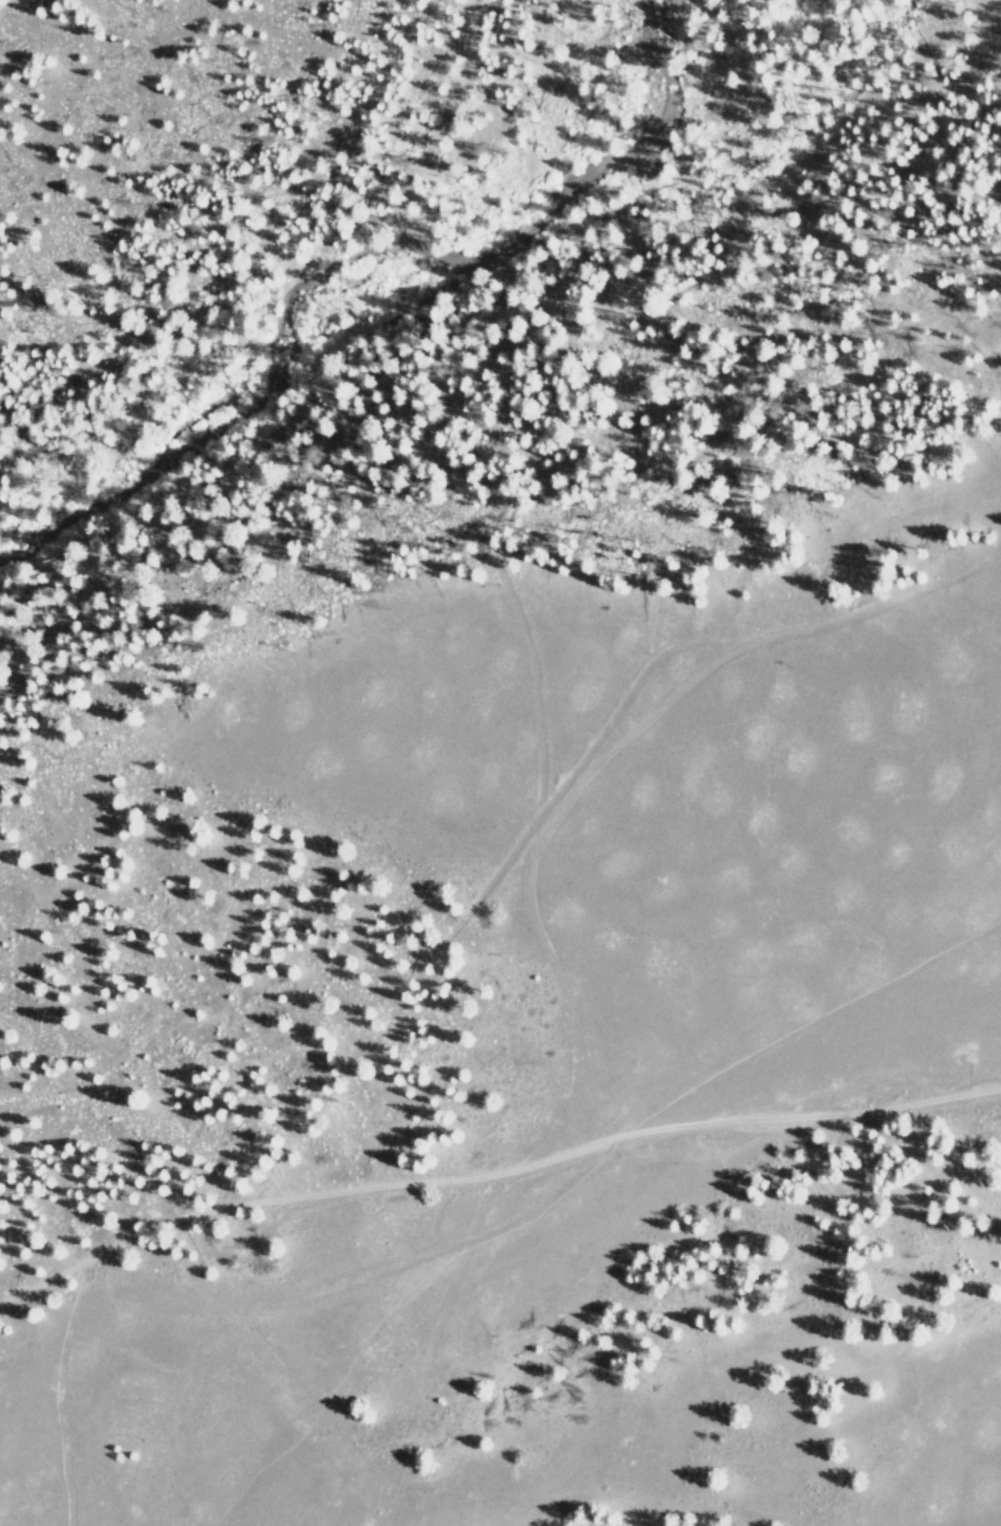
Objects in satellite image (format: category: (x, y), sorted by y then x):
road: (488, 1184)

